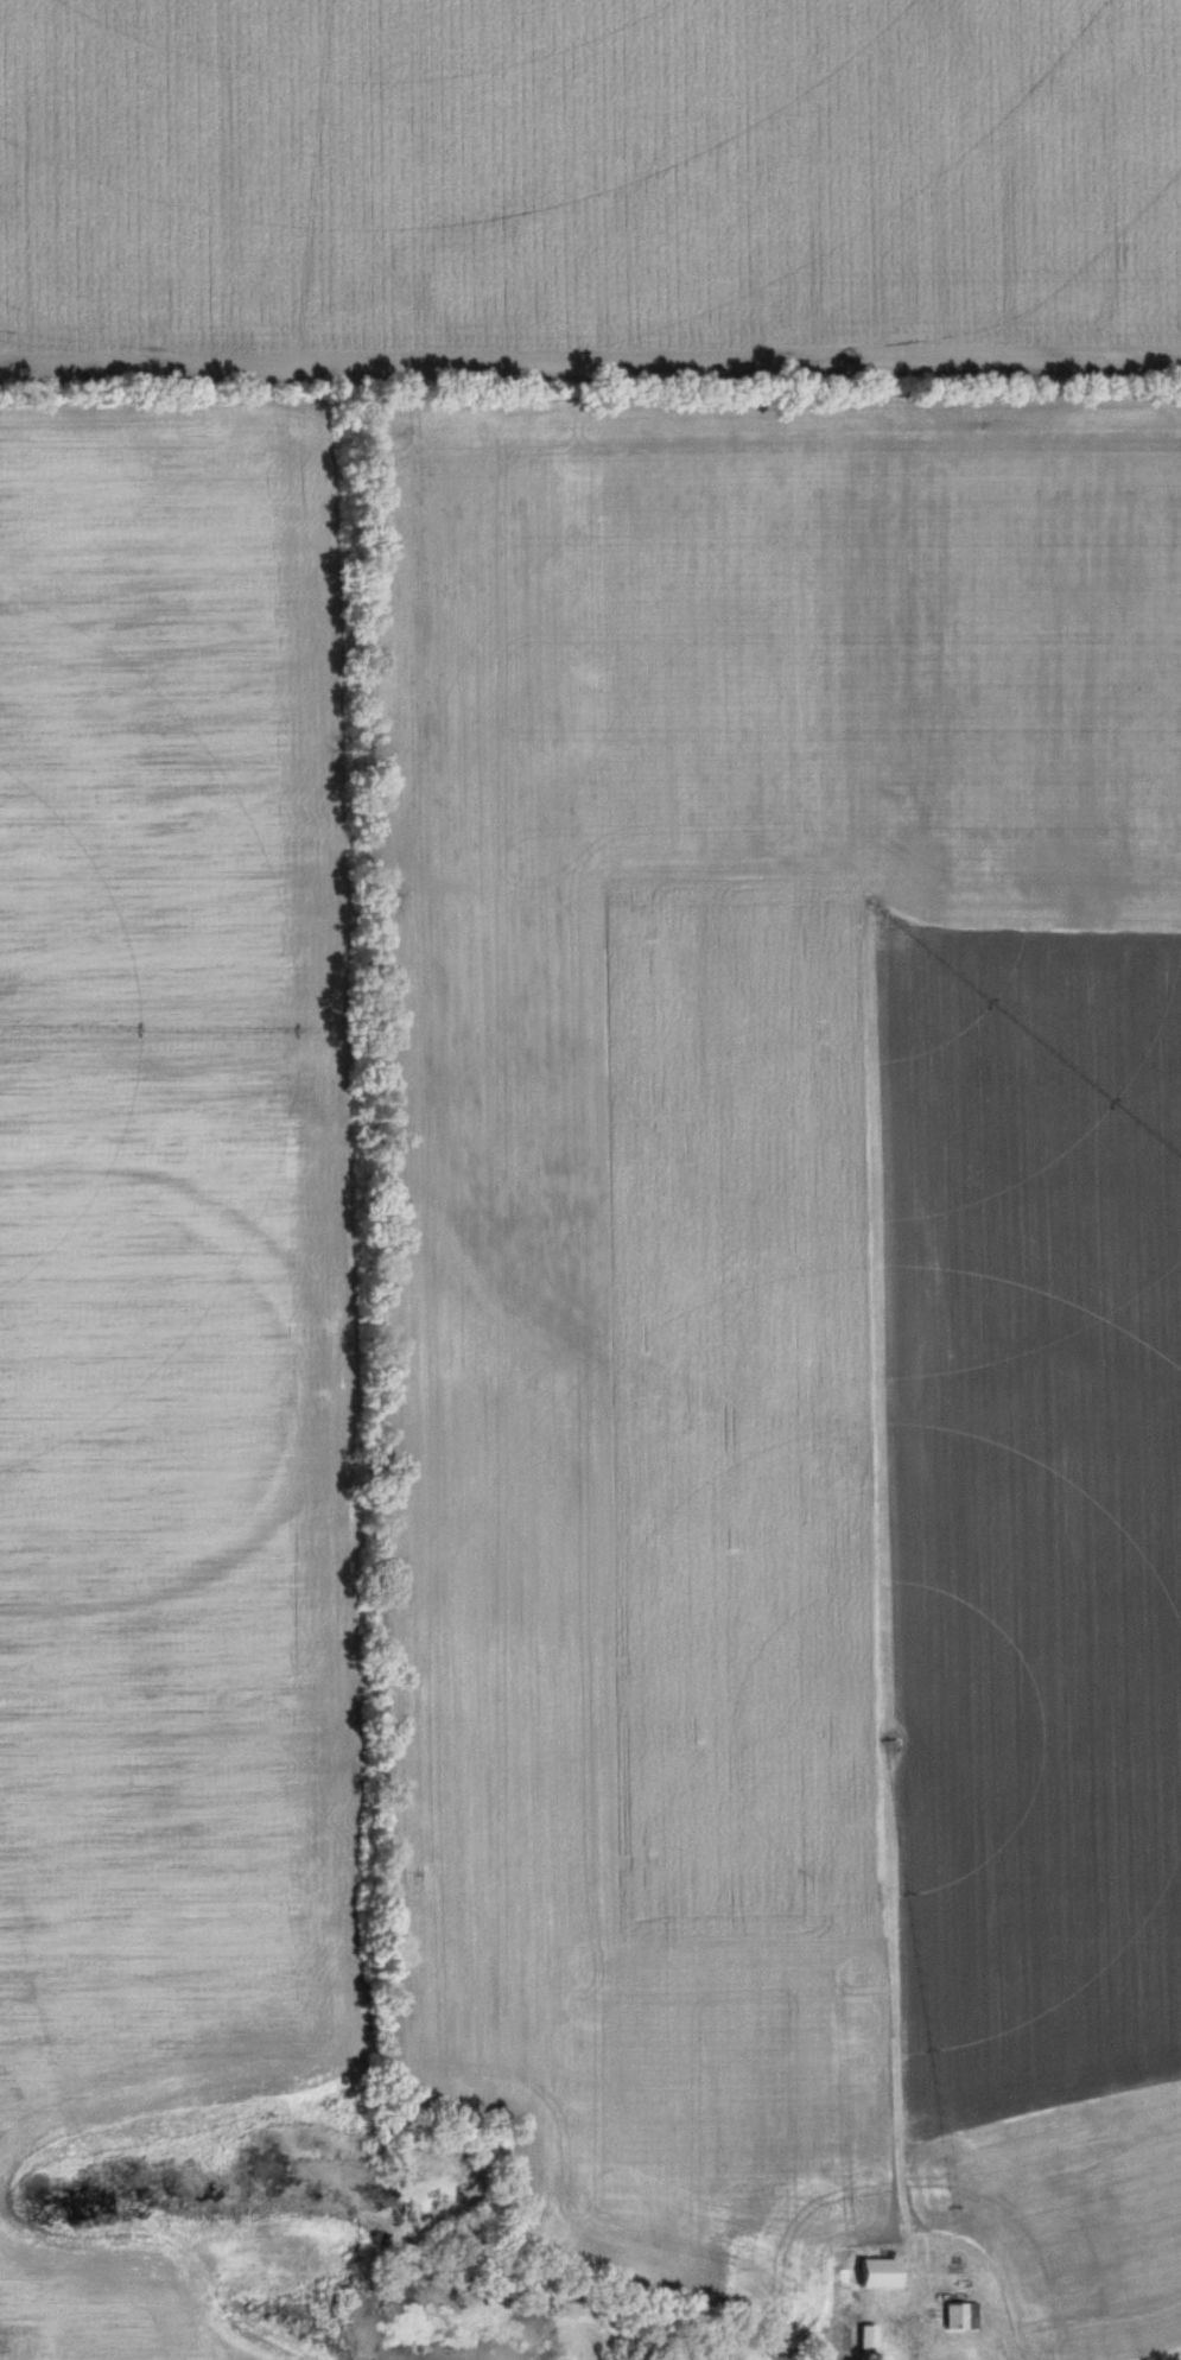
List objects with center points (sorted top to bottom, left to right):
crop: (590, 188)
building: (871, 2276)
building: (952, 2317)
building: (862, 2340)

